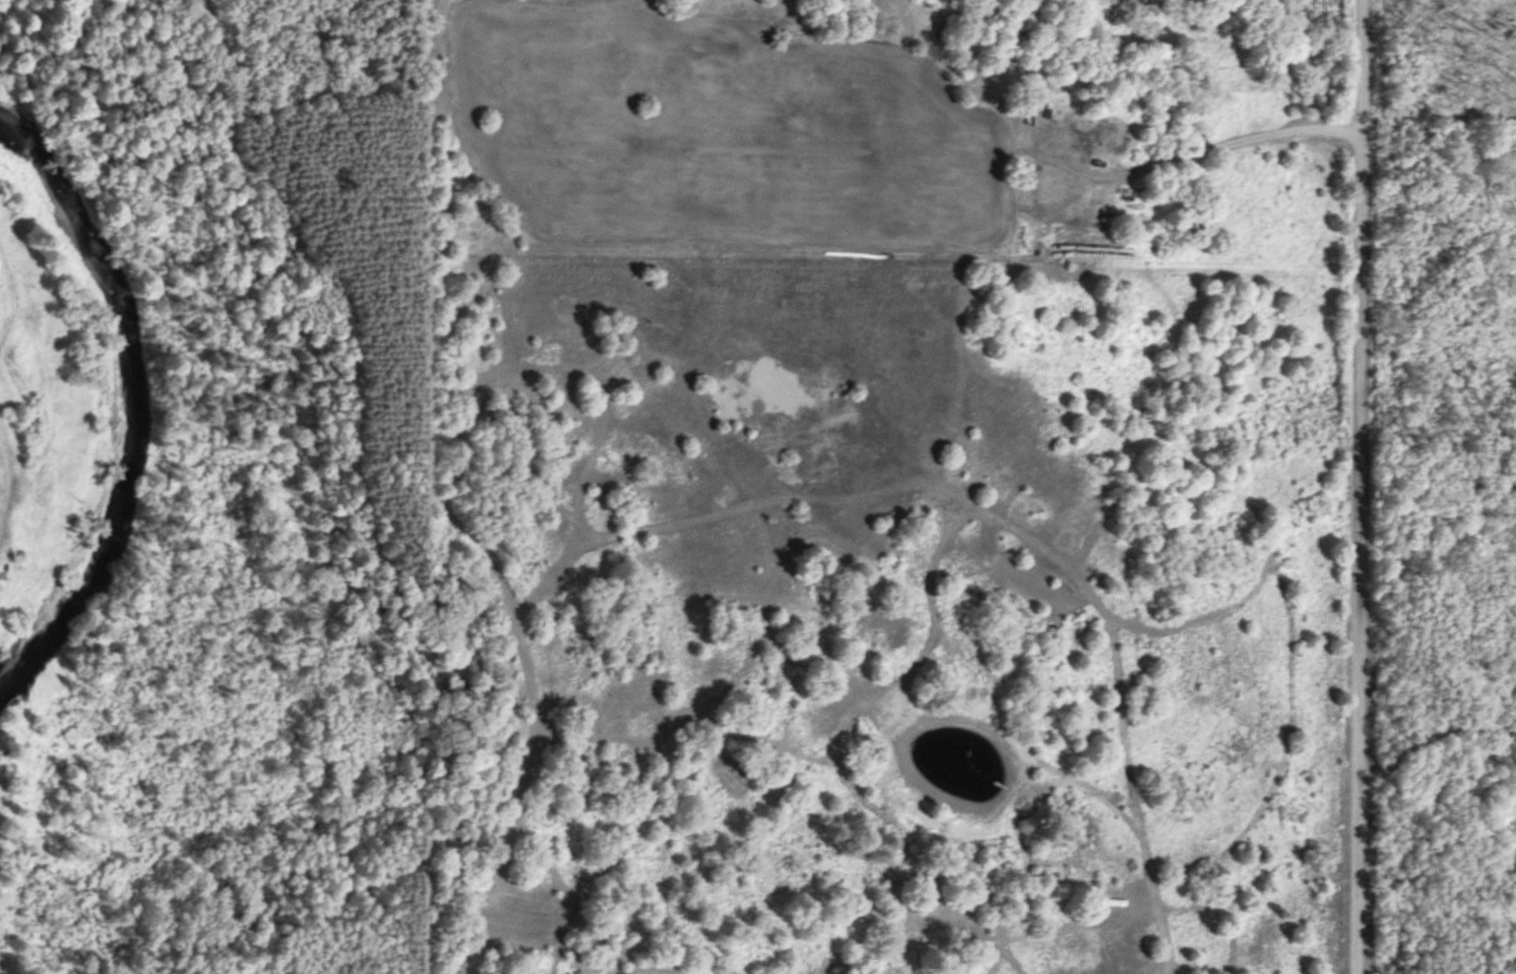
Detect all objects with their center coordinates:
river: (148, 393)
road: (1342, 487)

